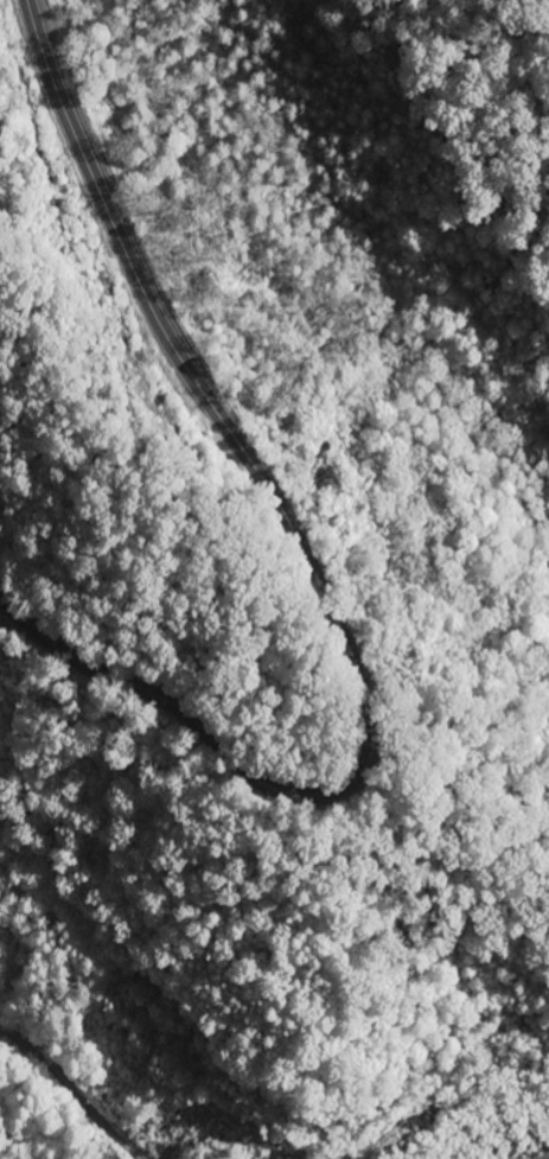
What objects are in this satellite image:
road: (314, 575)

